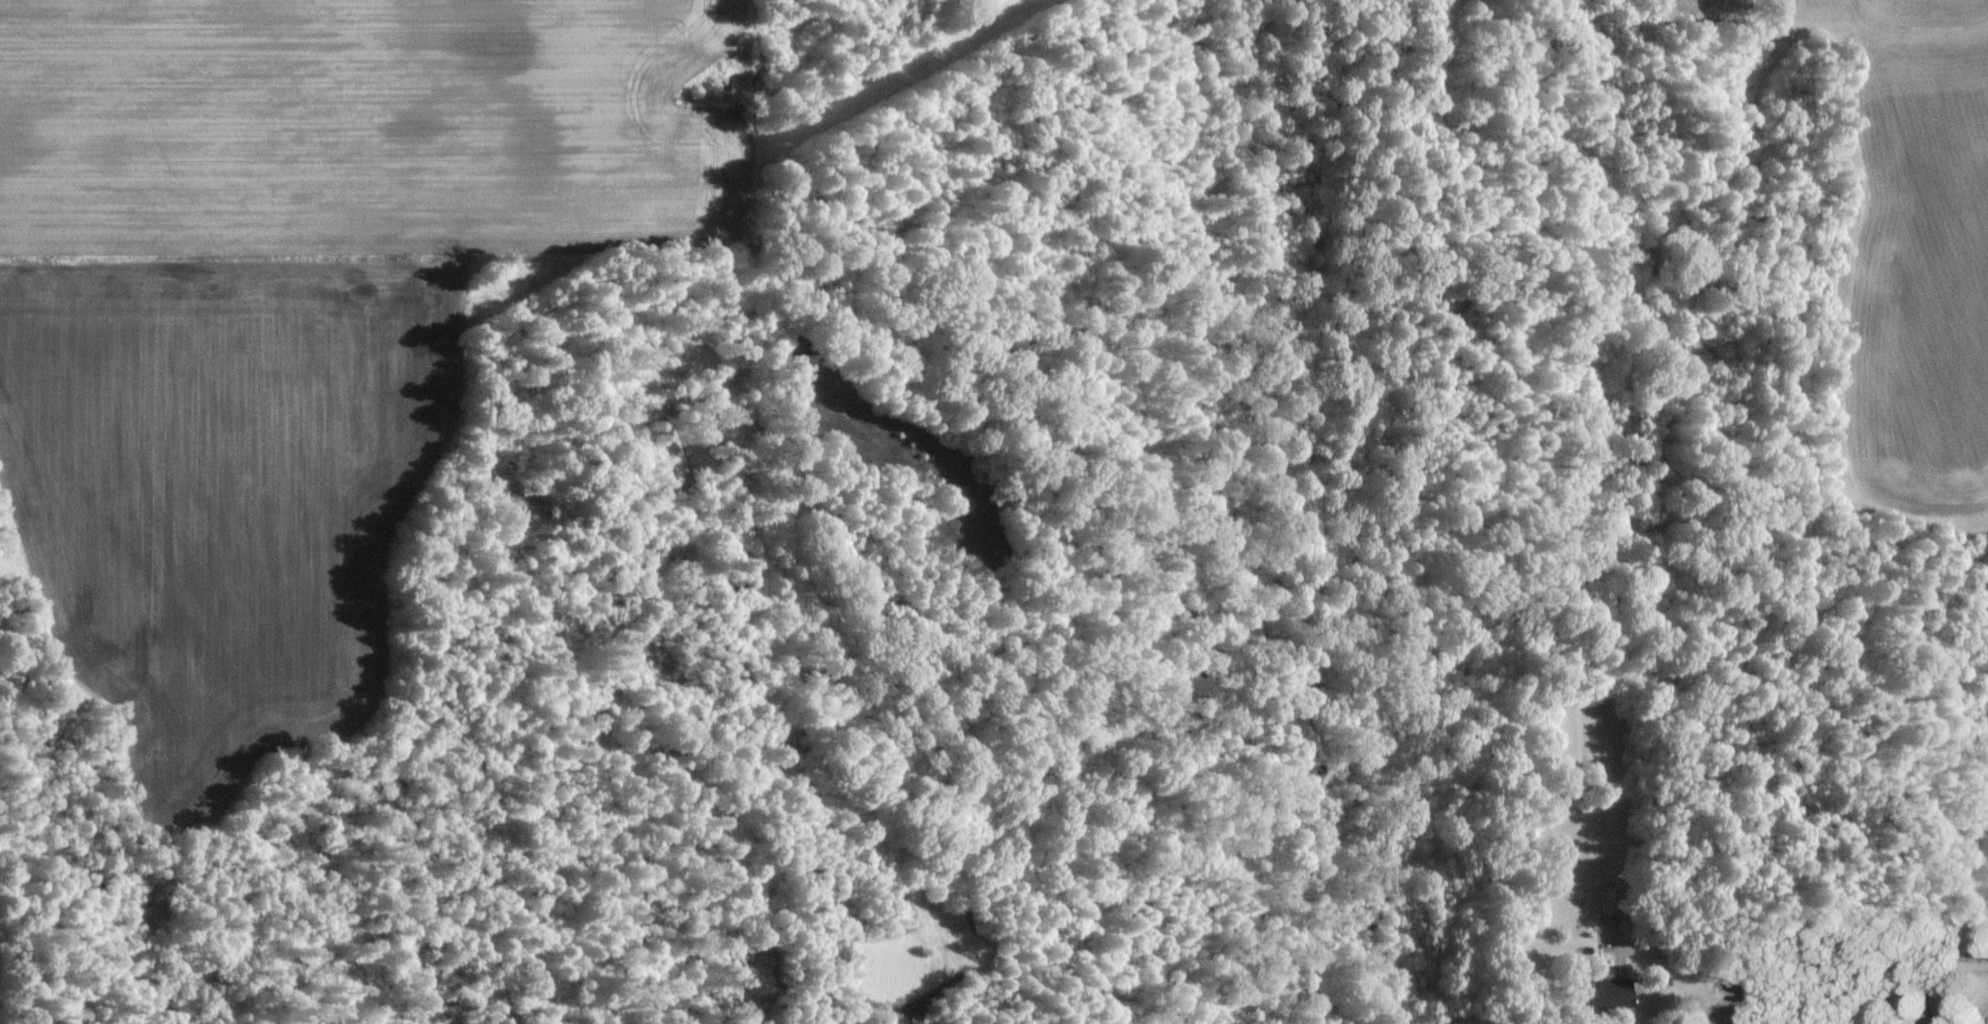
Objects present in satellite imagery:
road: (1797, 927)
building: (1603, 992)

